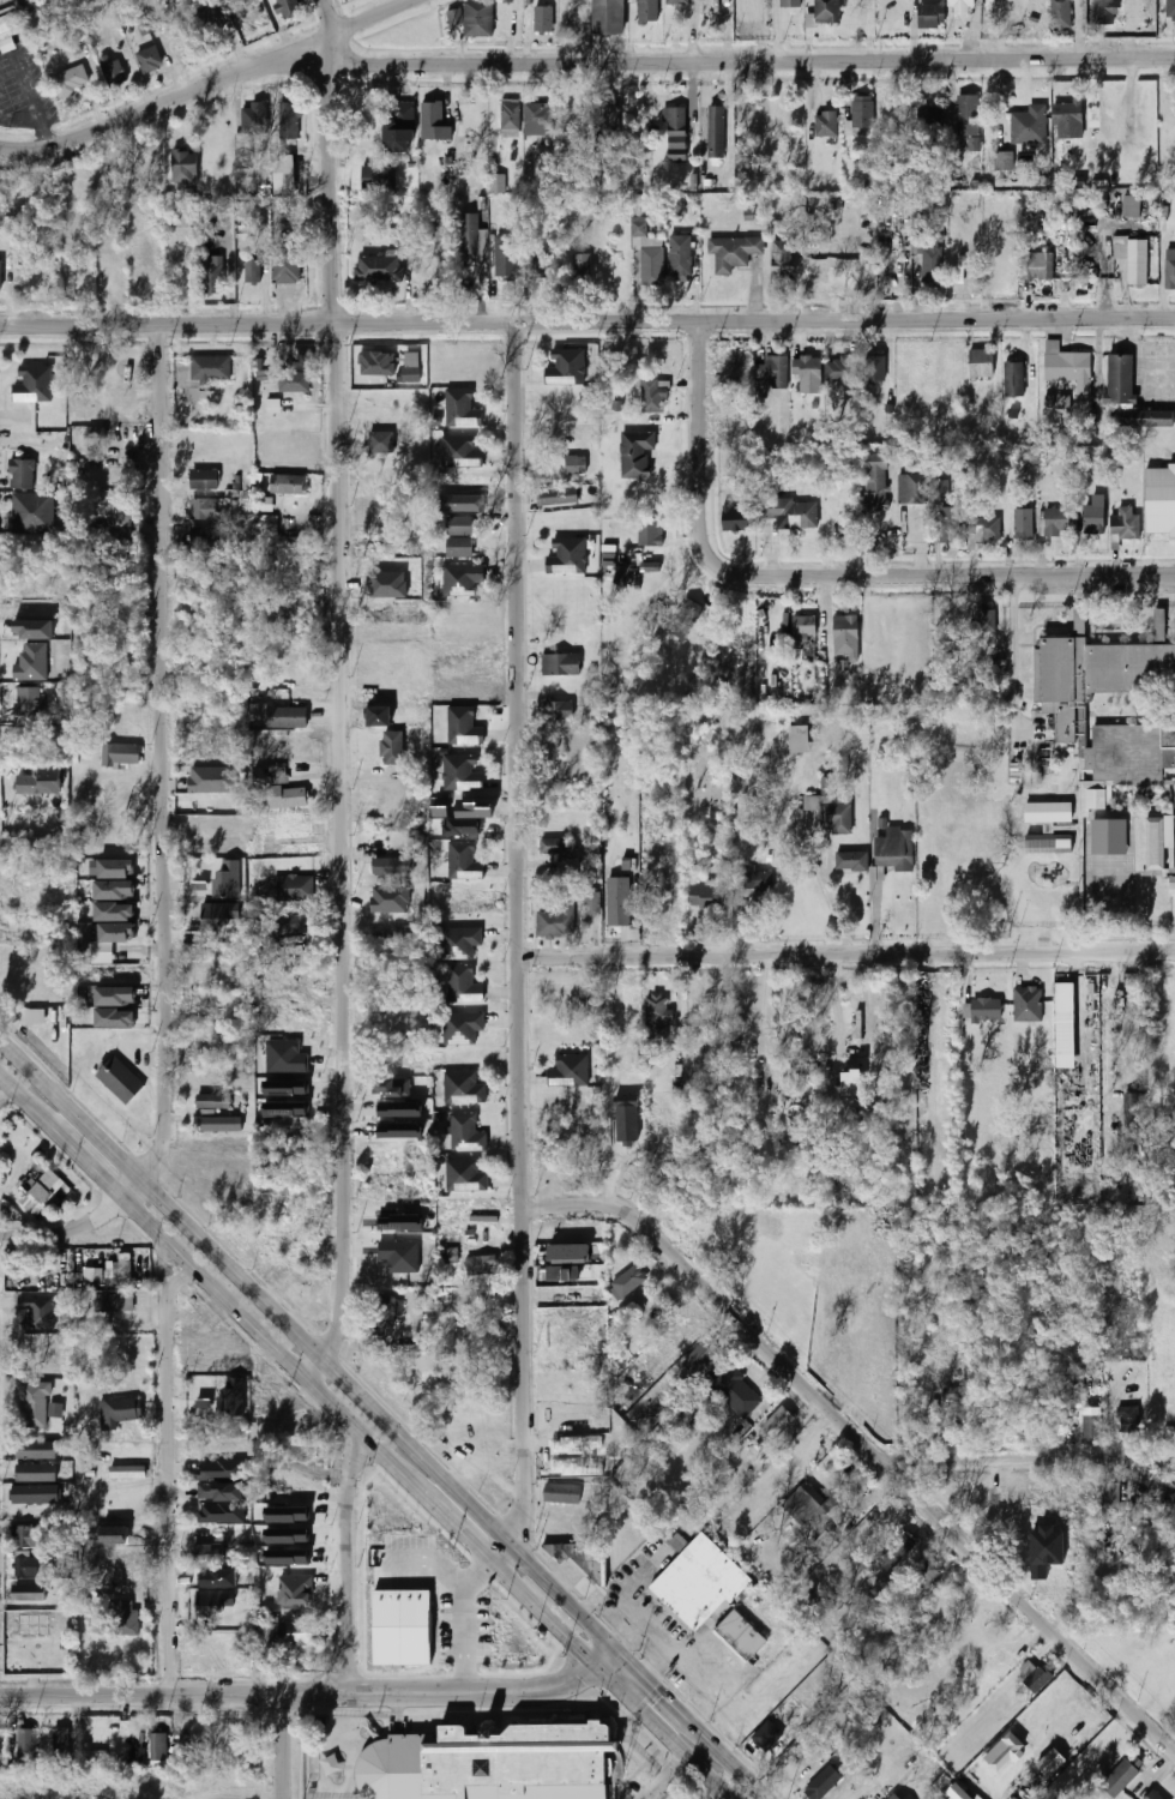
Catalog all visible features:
building: (677, 2)
building: (791, 4)
building: (285, 6)
building: (959, 7)
building: (1170, 10)
building: (647, 11)
building: (827, 12)
building: (1105, 12)
building: (1061, 14)
building: (932, 16)
building: (609, 17)
building: (212, 18)
building: (478, 19)
building: (543, 19)
building: (10, 23)
building: (146, 26)
building: (149, 59)
road: (712, 61)
building: (113, 71)
building: (71, 82)
road: (212, 86)
parking lot: (26, 90)
building: (862, 113)
building: (968, 116)
building: (510, 118)
road: (35, 120)
building: (536, 120)
building: (927, 120)
building: (289, 121)
building: (1069, 121)
building: (433, 122)
building: (611, 122)
building: (827, 124)
building: (1029, 126)
building: (399, 130)
building: (717, 133)
building: (248, 134)
building: (675, 134)
building: (975, 144)
building: (531, 158)
building: (1004, 161)
building: (185, 164)
building: (283, 174)
building: (378, 178)
building: (76, 187)
building: (1133, 206)
building: (936, 218)
building: (181, 219)
building: (11, 224)
building: (470, 236)
building: (647, 253)
building: (733, 253)
building: (680, 257)
building: (783, 258)
building: (506, 261)
building: (928, 261)
building: (1137, 263)
building: (285, 265)
building: (1036, 266)
building: (378, 269)
building: (582, 269)
building: (1170, 269)
building: (252, 271)
building: (0, 275)
building: (212, 275)
building: (434, 276)
road: (586, 321)
building: (299, 357)
building: (981, 363)
building: (378, 365)
building: (410, 367)
building: (206, 368)
building: (567, 368)
building: (874, 368)
building: (840, 369)
building: (1071, 371)
building: (775, 372)
building: (808, 373)
building: (1014, 379)
building: (1120, 379)
building: (294, 383)
building: (35, 384)
building: (653, 397)
building: (1063, 402)
building: (273, 405)
building: (462, 409)
building: (107, 417)
building: (1143, 419)
building: (97, 433)
building: (380, 444)
building: (462, 452)
building: (637, 455)
building: (576, 465)
building: (138, 473)
building: (20, 474)
building: (204, 480)
building: (875, 481)
building: (101, 482)
building: (288, 485)
building: (918, 488)
building: (940, 489)
building: (558, 498)
building: (1159, 501)
building: (463, 503)
building: (267, 504)
building: (204, 510)
building: (31, 512)
building: (790, 513)
building: (1095, 515)
building: (116, 518)
building: (737, 519)
building: (1056, 523)
building: (950, 524)
building: (1023, 524)
building: (267, 525)
building: (1125, 525)
building: (459, 527)
building: (983, 529)
building: (846, 530)
building: (650, 534)
building: (203, 536)
building: (459, 547)
building: (568, 556)
building: (652, 566)
road: (821, 576)
building: (460, 580)
building: (686, 619)
building: (983, 620)
building: (802, 628)
building: (845, 637)
road: (1012, 656)
building: (32, 662)
building: (560, 666)
building: (1102, 667)
road: (338, 693)
building: (28, 702)
building: (556, 711)
building: (287, 717)
building: (464, 727)
building: (799, 740)
building: (393, 748)
building: (1131, 751)
building: (123, 753)
road: (161, 754)
building: (462, 774)
building: (211, 780)
building: (41, 782)
building: (287, 798)
building: (1091, 799)
building: (831, 812)
building: (1048, 813)
building: (463, 826)
building: (1108, 837)
building: (1155, 843)
building: (1048, 844)
building: (553, 847)
building: (893, 852)
building: (464, 861)
building: (851, 862)
building: (394, 867)
building: (115, 870)
building: (228, 882)
building: (757, 882)
building: (1173, 886)
building: (293, 888)
building: (114, 891)
building: (707, 896)
building: (592, 903)
building: (620, 905)
building: (114, 911)
building: (219, 915)
building: (556, 921)
building: (277, 923)
building: (116, 933)
building: (459, 943)
road: (522, 946)
road: (849, 955)
building: (463, 985)
building: (115, 997)
building: (1028, 1004)
building: (986, 1010)
building: (35, 1016)
building: (655, 1017)
building: (114, 1018)
building: (1066, 1018)
building: (462, 1028)
building: (285, 1057)
building: (568, 1071)
road: (4, 1081)
building: (120, 1081)
building: (852, 1082)
road: (4, 1087)
building: (287, 1088)
building: (464, 1088)
building: (213, 1101)
building: (399, 1108)
building: (287, 1109)
building: (1134, 1111)
building: (628, 1123)
building: (221, 1124)
building: (400, 1131)
building: (465, 1132)
road: (62, 1138)
building: (465, 1175)
building: (40, 1192)
building: (400, 1222)
road: (79, 1228)
building: (568, 1253)
building: (400, 1256)
building: (450, 1256)
road: (162, 1264)
building: (476, 1266)
building: (121, 1270)
building: (564, 1274)
road: (176, 1280)
building: (628, 1281)
building: (113, 1304)
building: (38, 1312)
building: (382, 1312)
road: (308, 1342)
building: (703, 1354)
building: (736, 1392)
building: (233, 1397)
building: (34, 1406)
building: (55, 1409)
building: (117, 1412)
building: (1129, 1419)
building: (778, 1421)
building: (1090, 1427)
road: (355, 1432)
road: (866, 1445)
building: (35, 1450)
road: (1028, 1458)
building: (222, 1469)
building: (128, 1472)
building: (36, 1473)
building: (219, 1492)
road: (165, 1493)
building: (35, 1494)
building: (564, 1494)
building: (1109, 1494)
building: (803, 1503)
building: (222, 1512)
building: (288, 1515)
building: (288, 1535)
building: (26, 1536)
building: (677, 1541)
building: (896, 1550)
building: (206, 1552)
building: (288, 1557)
building: (583, 1558)
road: (343, 1565)
building: (29, 1566)
building: (928, 1572)
building: (206, 1578)
building: (700, 1582)
building: (295, 1589)
building: (882, 1589)
building: (26, 1593)
building: (213, 1602)
building: (122, 1618)
road: (644, 1618)
road: (464, 1621)
building: (403, 1627)
building: (296, 1635)
road: (629, 1635)
building: (740, 1636)
traffic signals: (567, 1638)
traffic signals: (627, 1638)
road: (605, 1659)
building: (1034, 1675)
traffic signals: (579, 1680)
road: (655, 1689)
road: (440, 1693)
traffic signals: (659, 1693)
road: (710, 1693)
road: (139, 1695)
road: (662, 1733)
building: (60, 1745)
building: (28, 1746)
building: (158, 1746)
road: (279, 1746)
building: (1005, 1752)
building: (1104, 1757)
building: (1052, 1762)
building: (494, 1764)
road: (731, 1764)
building: (1125, 1774)
road: (659, 1776)
building: (822, 1782)
building: (958, 1792)
building: (1151, 1794)
building: (893, 1797)

